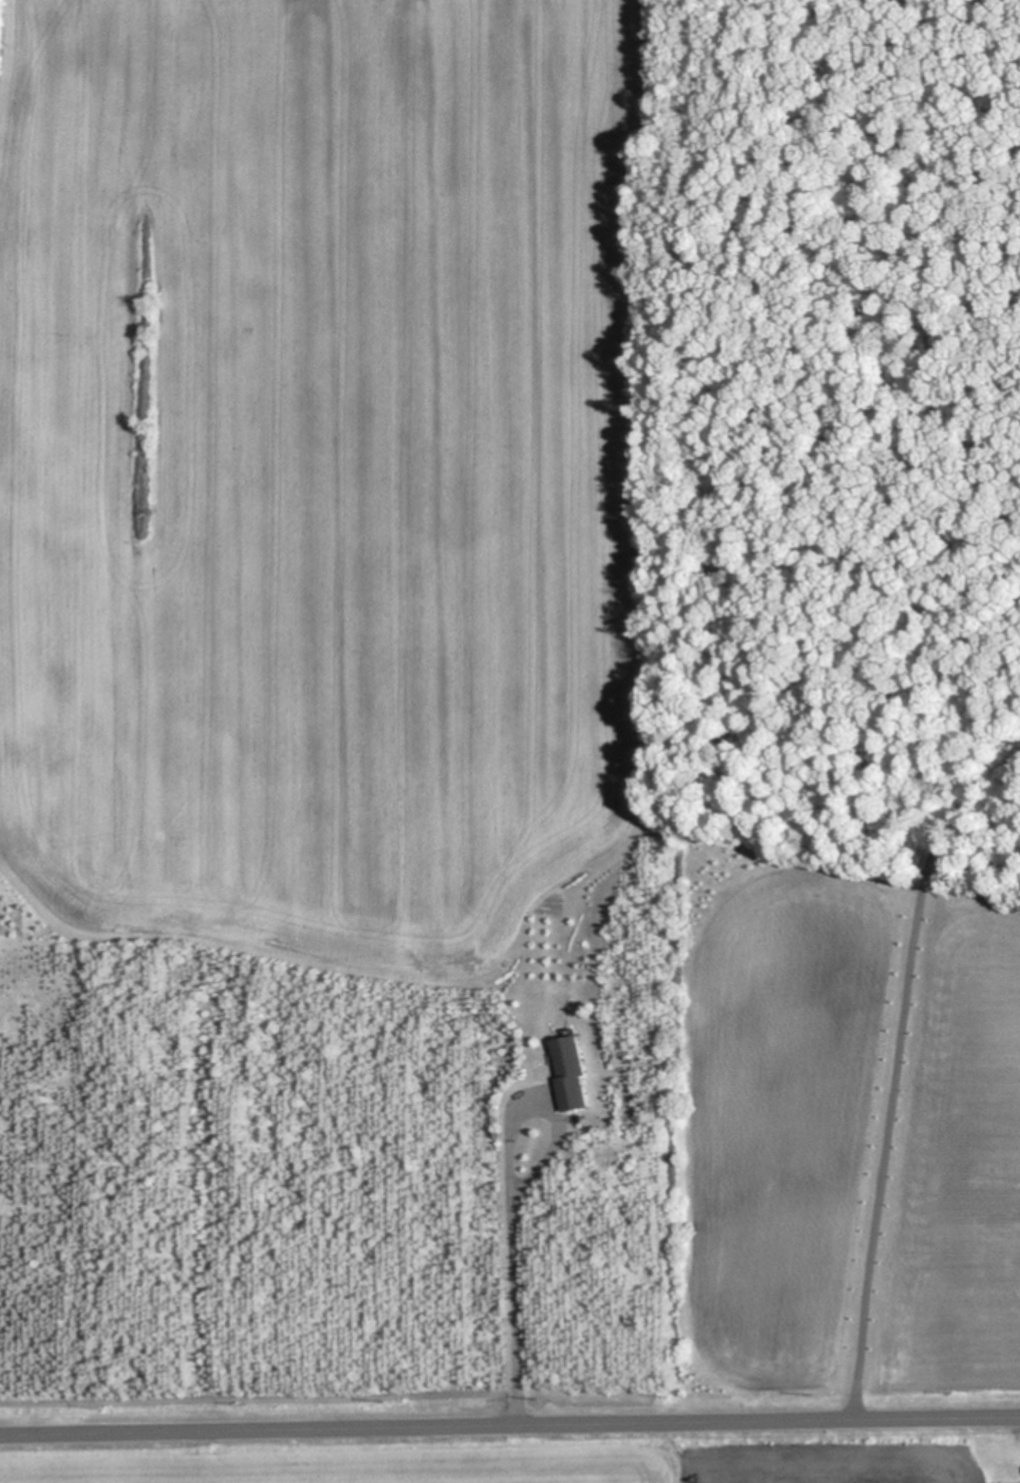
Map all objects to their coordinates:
building: (563, 1080)
road: (509, 1424)

